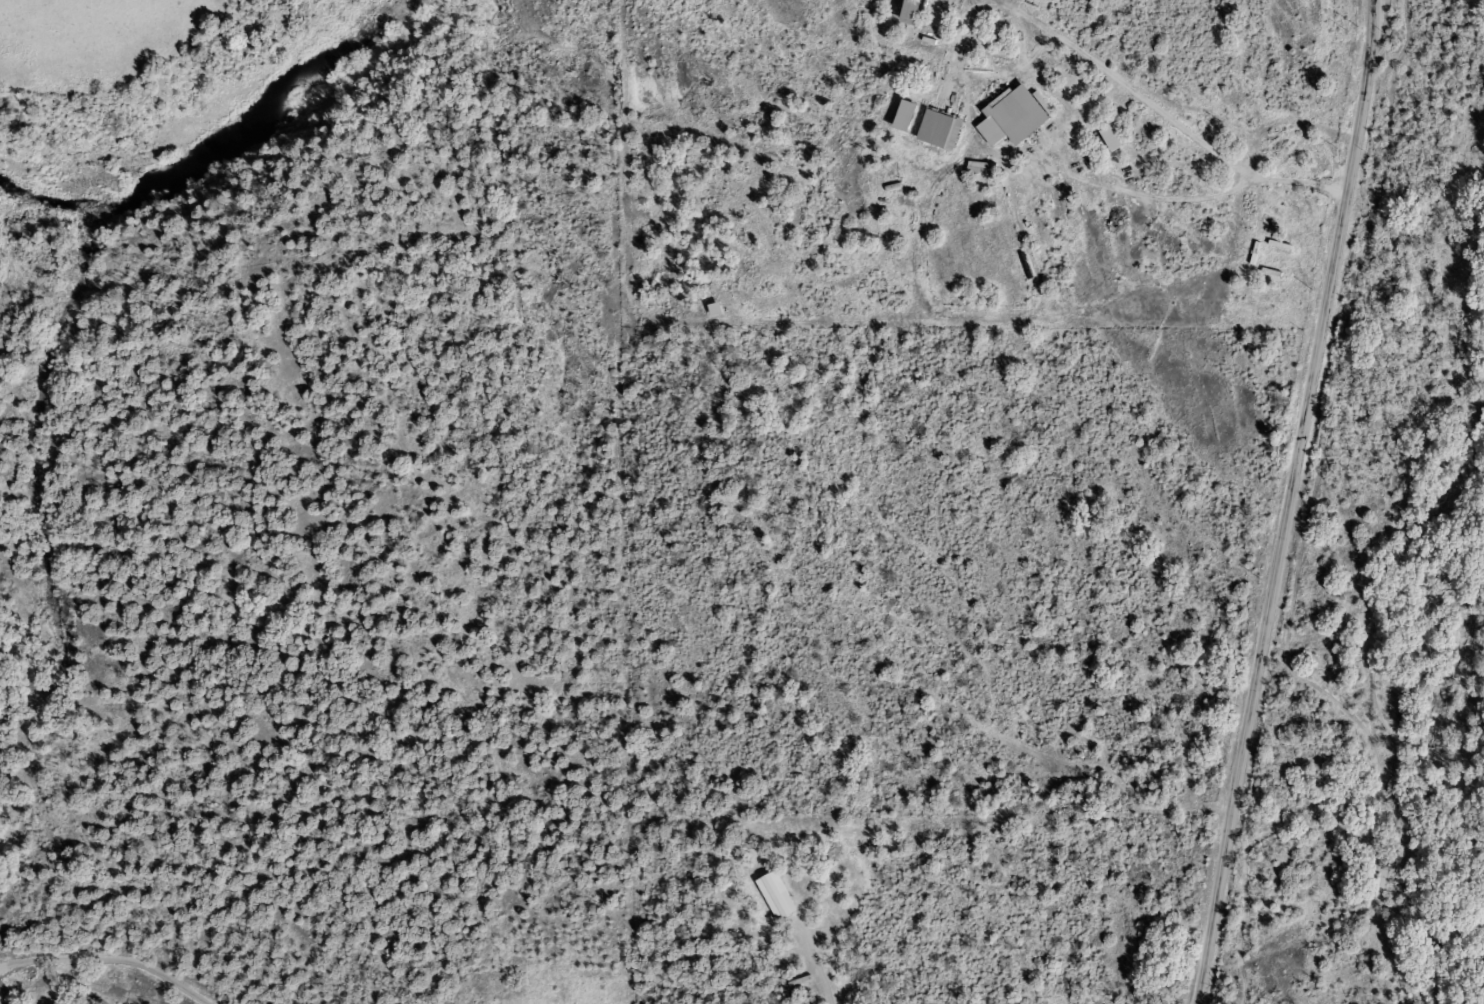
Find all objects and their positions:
building: (901, 13)
building: (1009, 115)
building: (897, 116)
building: (976, 170)
road: (1288, 502)
building: (767, 894)
road: (109, 959)

